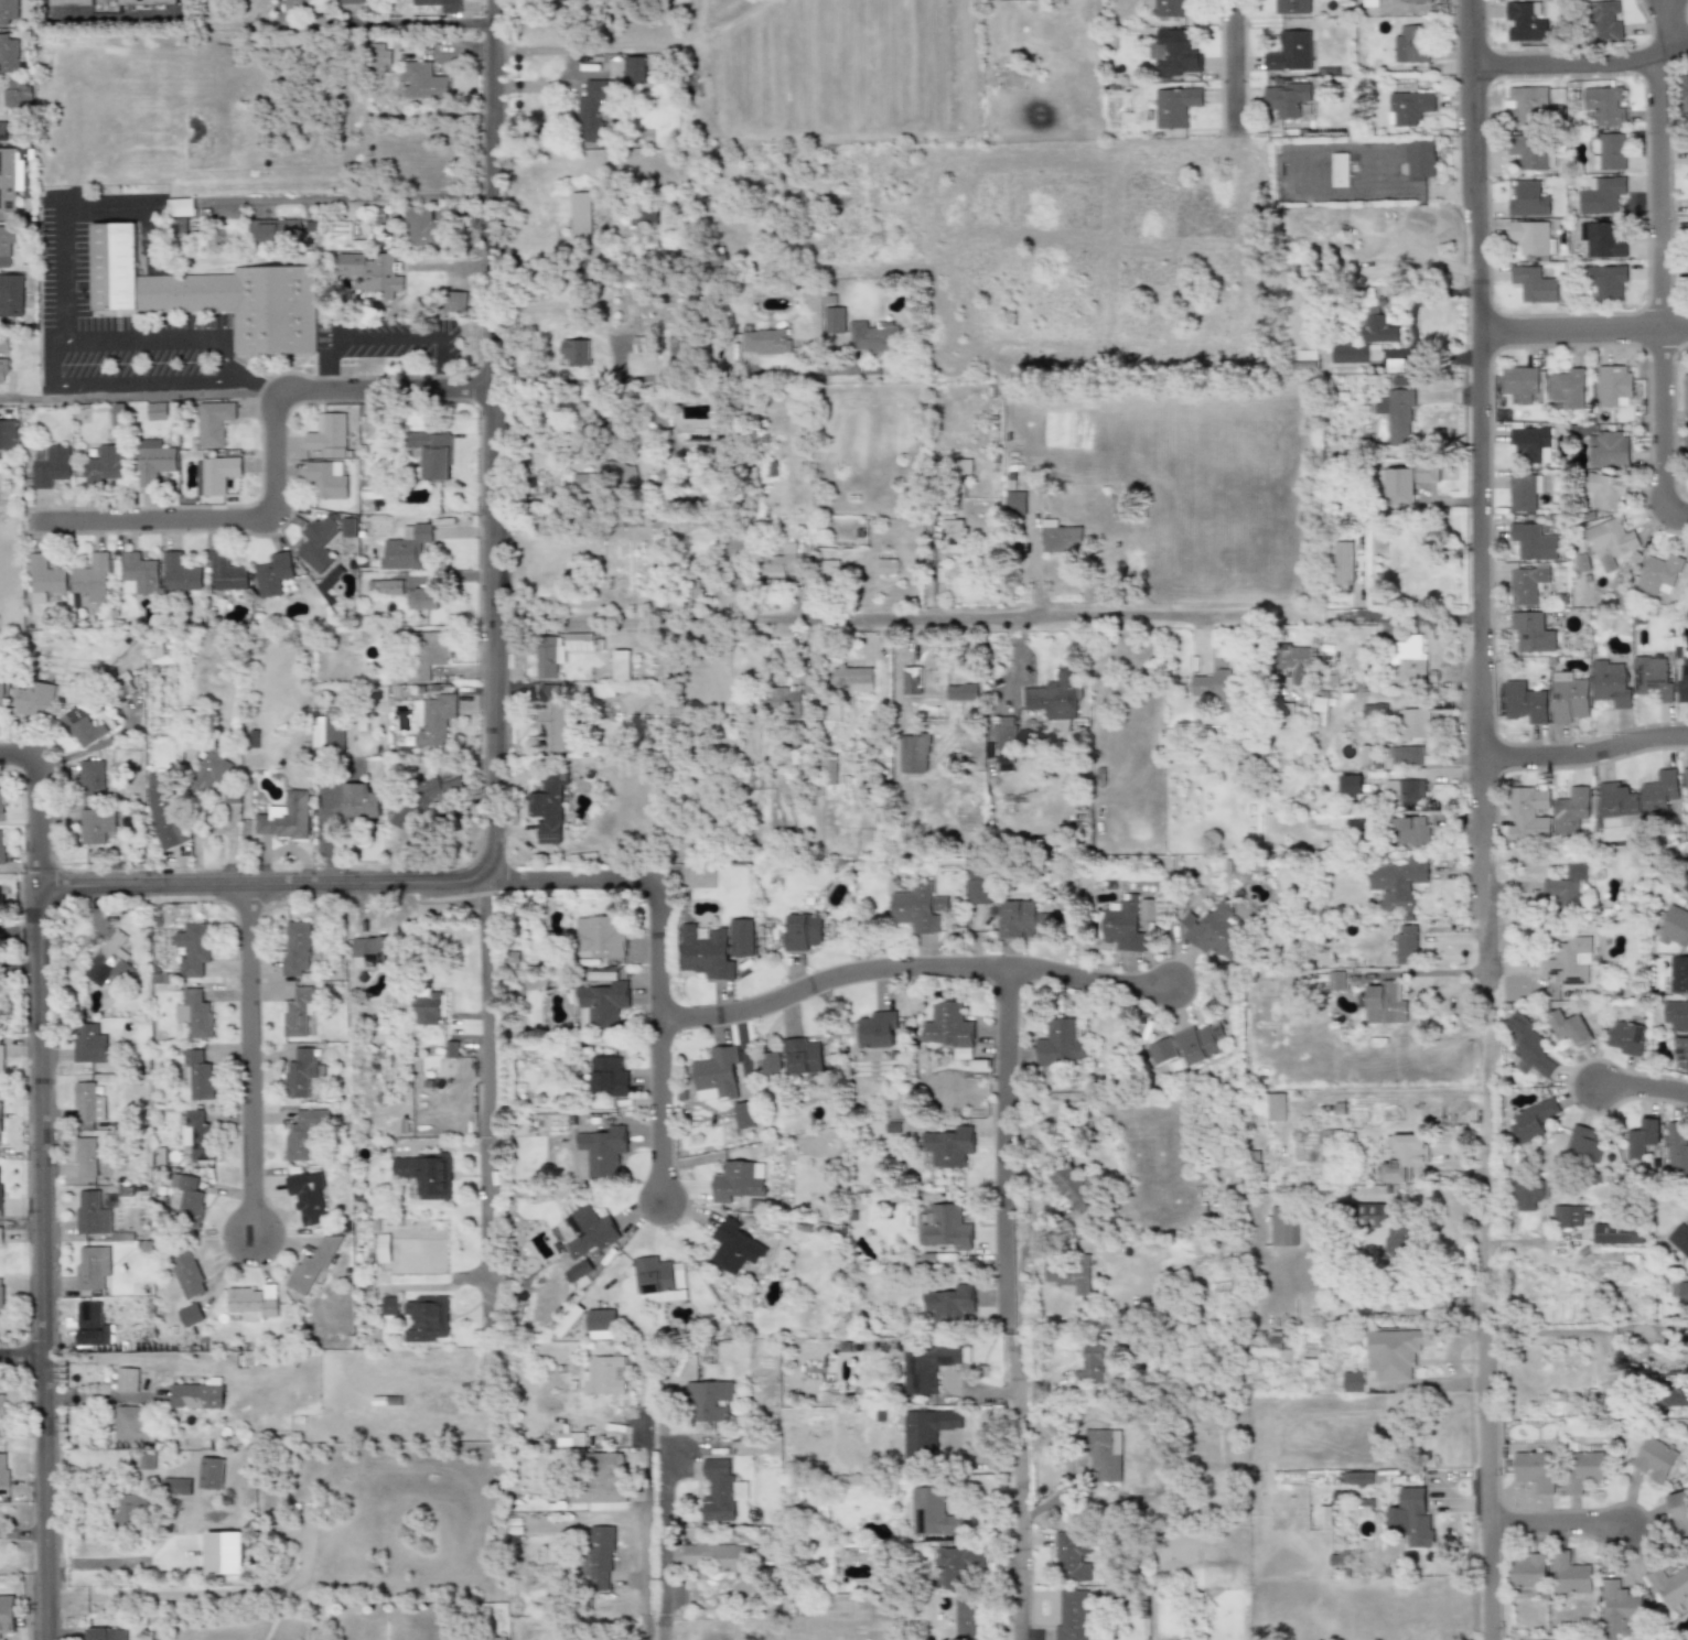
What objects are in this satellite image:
building: (1022, 0)
building: (353, 1)
building: (1417, 1)
building: (111, 3)
building: (442, 4)
building: (294, 6)
building: (1291, 6)
building: (1169, 8)
building: (9, 12)
road: (404, 20)
building: (1603, 20)
building: (1525, 21)
road: (1670, 24)
building: (1410, 43)
building: (1174, 52)
building: (1290, 52)
building: (9, 53)
road: (1581, 62)
road: (1230, 63)
building: (626, 68)
building: (422, 79)
building: (18, 94)
building: (1684, 96)
building: (1284, 99)
building: (1605, 105)
building: (1174, 106)
building: (1409, 106)
building: (1527, 106)
building: (593, 109)
building: (3, 131)
building: (1529, 150)
building: (1612, 151)
building: (1420, 158)
building: (1338, 170)
building: (11, 176)
road: (1388, 192)
building: (1601, 194)
road: (352, 198)
building: (1528, 199)
building: (181, 207)
building: (580, 215)
building: (644, 215)
building: (422, 226)
building: (276, 230)
building: (1531, 237)
building: (1602, 240)
building: (9, 242)
parking lot: (65, 266)
road: (65, 271)
building: (370, 271)
building: (1608, 281)
building: (1534, 284)
building: (207, 293)
building: (11, 294)
road: (1662, 295)
road: (1479, 307)
building: (834, 320)
building: (1377, 326)
road: (1583, 331)
building: (872, 336)
road: (388, 337)
road: (140, 341)
building: (765, 341)
building: (4, 342)
parking lot: (386, 344)
building: (642, 344)
building: (576, 352)
road: (227, 353)
road: (54, 364)
building: (3, 370)
road: (228, 374)
road: (664, 377)
road: (246, 378)
building: (1520, 381)
road: (141, 384)
building: (1613, 385)
road: (381, 387)
building: (1567, 389)
building: (1685, 391)
road: (137, 396)
building: (155, 410)
building: (1399, 413)
building: (213, 422)
building: (329, 433)
building: (8, 439)
road: (491, 439)
building: (1531, 445)
building: (1608, 449)
building: (1687, 452)
building: (434, 454)
building: (154, 460)
building: (104, 464)
building: (50, 465)
building: (216, 475)
building: (327, 477)
building: (603, 479)
building: (1407, 482)
building: (1605, 490)
building: (1526, 492)
building: (1014, 500)
road: (217, 517)
building: (954, 532)
building: (1058, 539)
building: (1610, 541)
building: (319, 542)
building: (1535, 542)
building: (406, 547)
building: (780, 562)
building: (1345, 563)
building: (886, 565)
building: (180, 572)
building: (226, 572)
building: (830, 572)
building: (137, 573)
building: (1660, 573)
building: (273, 574)
building: (93, 576)
building: (44, 578)
building: (331, 579)
building: (1529, 585)
building: (386, 586)
building: (424, 598)
road: (985, 614)
building: (1534, 633)
building: (429, 654)
building: (548, 656)
building: (1411, 659)
building: (620, 665)
building: (1295, 665)
building: (911, 676)
building: (851, 678)
building: (1653, 678)
building: (1681, 680)
building: (810, 683)
building: (1611, 683)
building: (1219, 689)
building: (961, 692)
building: (1055, 697)
building: (34, 698)
building: (1569, 698)
building: (785, 701)
building: (1, 702)
building: (1526, 702)
building: (1375, 711)
building: (434, 719)
building: (555, 719)
building: (1416, 724)
building: (82, 727)
building: (329, 732)
building: (1007, 733)
road: (1584, 751)
building: (913, 754)
building: (1406, 755)
building: (208, 770)
building: (829, 770)
building: (1686, 777)
building: (92, 780)
building: (1351, 784)
building: (1405, 792)
building: (1659, 794)
building: (426, 800)
building: (1617, 800)
road: (35, 801)
building: (359, 801)
building: (2, 805)
building: (549, 806)
road: (1480, 810)
building: (1571, 810)
building: (1527, 813)
building: (162, 816)
building: (286, 817)
building: (96, 824)
building: (1410, 831)
building: (2, 848)
road: (645, 878)
road: (268, 883)
building: (978, 884)
building: (1398, 884)
building: (1686, 887)
building: (1567, 888)
building: (2, 898)
building: (917, 908)
building: (1147, 909)
building: (1021, 919)
building: (1121, 926)
building: (1675, 928)
road: (19, 929)
building: (803, 932)
building: (599, 938)
building: (741, 938)
building: (1406, 945)
building: (298, 948)
building: (194, 949)
building: (376, 952)
building: (706, 953)
building: (110, 962)
building: (1570, 962)
building: (1679, 974)
road: (827, 978)
road: (1083, 980)
building: (1335, 982)
building: (601, 1004)
building: (1385, 1005)
building: (430, 1008)
building: (298, 1013)
building: (194, 1014)
building: (1677, 1015)
building: (1567, 1026)
building: (948, 1028)
building: (873, 1031)
building: (1625, 1037)
building: (1061, 1043)
building: (1198, 1043)
building: (1528, 1046)
building: (1680, 1046)
building: (89, 1049)
building: (453, 1049)
building: (1161, 1051)
building: (803, 1056)
building: (1, 1060)
building: (771, 1064)
road: (250, 1065)
building: (302, 1073)
building: (716, 1073)
building: (198, 1077)
building: (609, 1077)
road: (1641, 1083)
road: (495, 1099)
building: (88, 1103)
building: (1276, 1107)
road: (660, 1108)
building: (743, 1114)
building: (0, 1121)
building: (1533, 1121)
building: (305, 1132)
building: (197, 1136)
building: (1643, 1137)
road: (1004, 1145)
building: (1584, 1145)
building: (1677, 1147)
building: (950, 1148)
building: (603, 1150)
building: (85, 1157)
building: (1402, 1157)
building: (427, 1174)
building: (738, 1180)
building: (1075, 1186)
building: (1, 1191)
building: (1530, 1194)
building: (308, 1198)
building: (187, 1200)
building: (92, 1213)
building: (1567, 1216)
building: (946, 1227)
building: (1284, 1227)
building: (588, 1232)
building: (1611, 1233)
building: (1, 1236)
building: (1679, 1239)
building: (1400, 1240)
building: (734, 1247)
building: (384, 1248)
road: (40, 1261)
building: (312, 1264)
building: (93, 1266)
building: (1072, 1274)
building: (187, 1275)
building: (658, 1278)
building: (1680, 1294)
building: (1, 1297)
road: (1024, 1297)
building: (254, 1301)
building: (950, 1305)
building: (389, 1306)
building: (190, 1315)
building: (427, 1319)
building: (601, 1324)
building: (92, 1325)
road: (1560, 1332)
building: (1397, 1352)
road: (20, 1353)
building: (1093, 1364)
building: (927, 1367)
building: (606, 1375)
building: (127, 1380)
building: (1353, 1381)
road: (1019, 1395)
building: (1671, 1395)
building: (196, 1396)
building: (710, 1400)
building: (2, 1402)
road: (1487, 1402)
building: (133, 1424)
building: (926, 1432)
building: (1205, 1445)
building: (1106, 1454)
building: (1655, 1459)
building: (4, 1469)
building: (1536, 1469)
building: (1582, 1470)
building: (211, 1474)
building: (1358, 1478)
building: (602, 1480)
building: (176, 1487)
building: (720, 1490)
road: (659, 1499)
building: (1679, 1506)
building: (132, 1511)
building: (935, 1514)
building: (1413, 1518)
road: (1558, 1520)
road: (1018, 1528)
building: (224, 1553)
building: (712, 1556)
building: (1073, 1556)
building: (598, 1557)
building: (958, 1566)
building: (1530, 1572)
building: (1570, 1575)
building: (1673, 1586)
building: (1619, 1608)
road: (279, 1610)
building: (7, 1612)
building: (1073, 1616)
building: (965, 1618)
building: (106, 1633)
building: (497, 1639)

